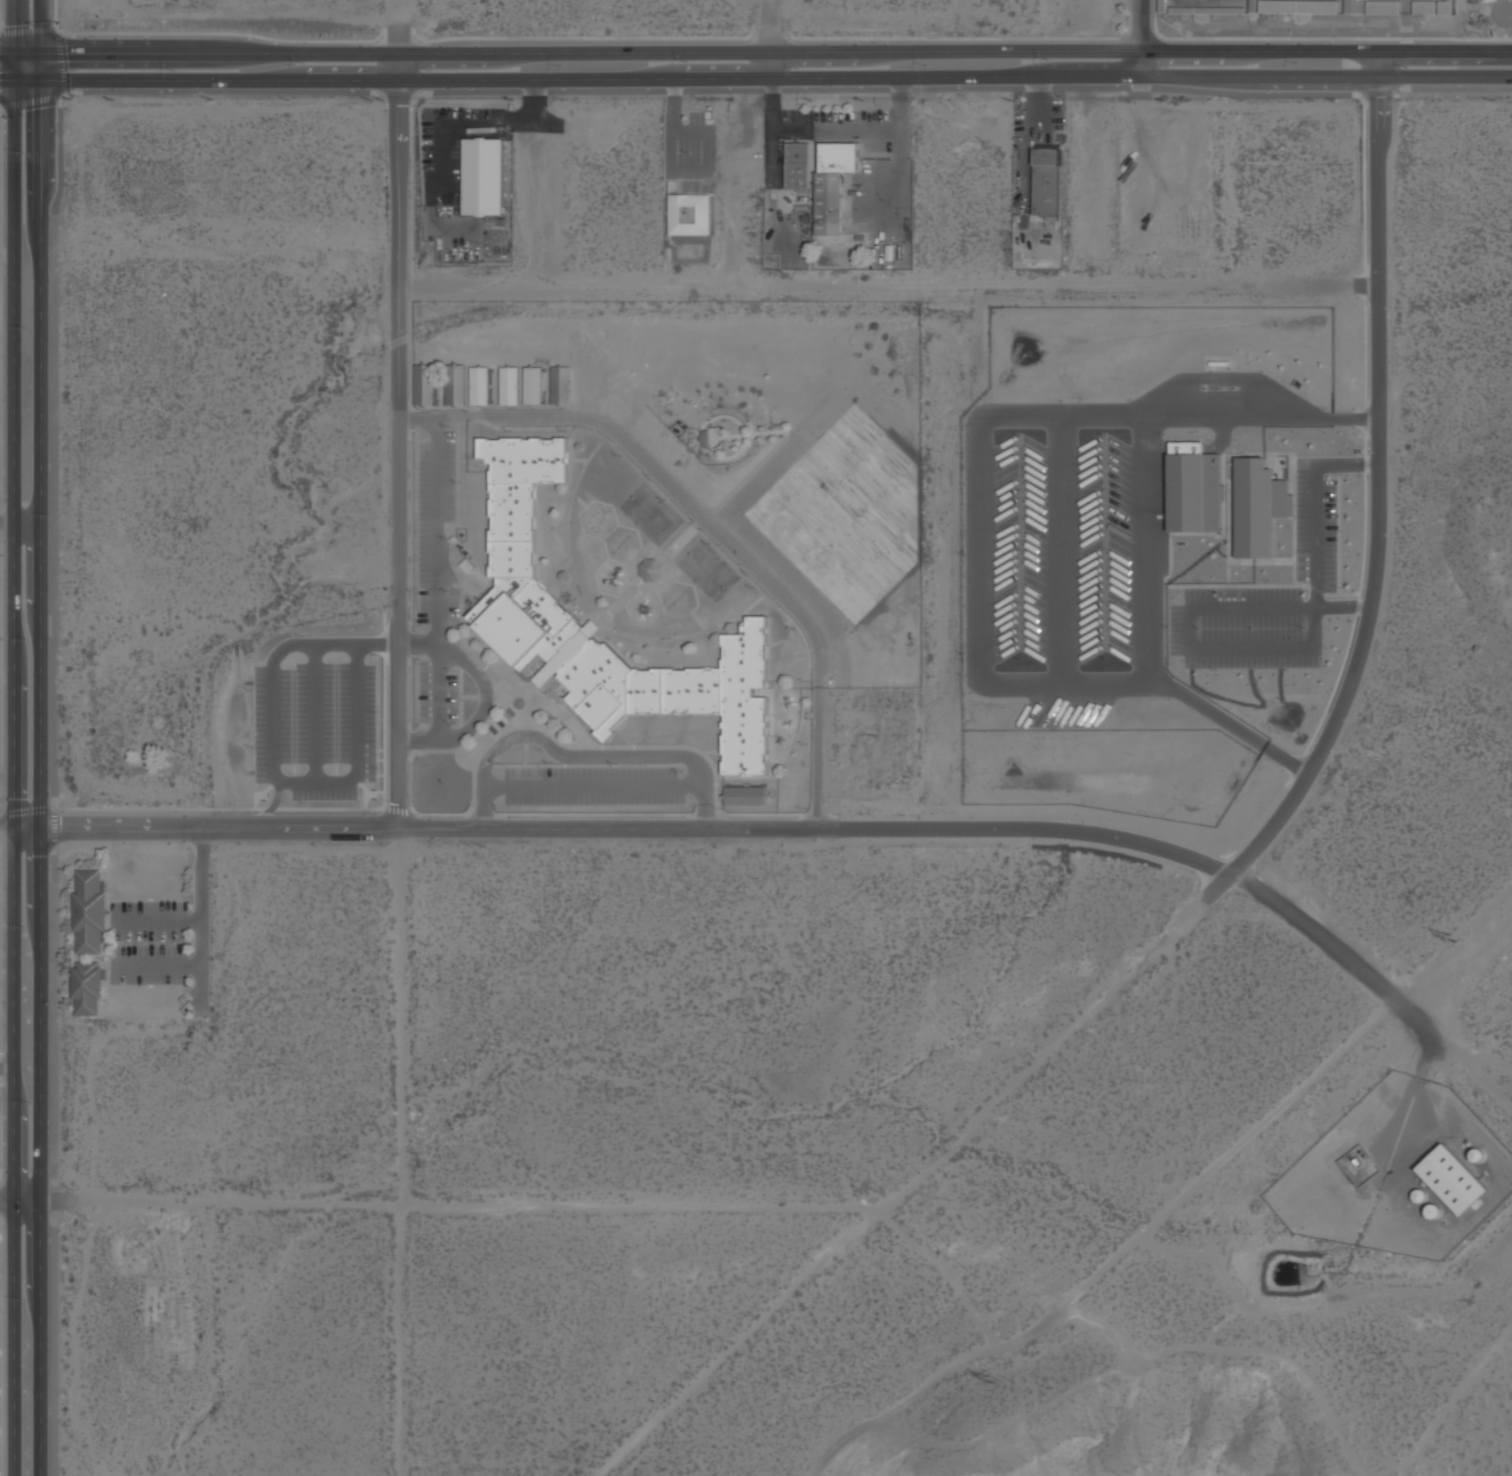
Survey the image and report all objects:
landfill: (1102, 3)
building: (1163, 5)
building: (1253, 5)
building: (1298, 6)
building: (1352, 6)
building: (1383, 6)
building: (1445, 6)
building: (1424, 7)
building: (1208, 9)
road: (1143, 23)
road: (15, 25)
road: (43, 25)
road: (398, 26)
road: (771, 26)
road: (767, 38)
road: (1443, 50)
traffic signals: (15, 52)
traffic signals: (44, 52)
road: (687, 52)
road: (1144, 60)
road: (60, 64)
road: (772, 65)
road: (14, 67)
road: (44, 67)
road: (687, 77)
road: (1443, 77)
traffic signals: (14, 83)
traffic signals: (44, 83)
road: (1037, 100)
road: (477, 122)
road: (57, 129)
road: (834, 133)
building: (799, 164)
road: (676, 172)
road: (893, 174)
building: (484, 176)
building: (1047, 181)
building: (833, 183)
building: (690, 214)
road: (887, 283)
building: (455, 383)
building: (425, 384)
building: (533, 384)
building: (479, 385)
building: (509, 385)
building: (560, 385)
road: (400, 441)
road: (1144, 455)
road: (1376, 478)
building: (1188, 490)
building: (1253, 505)
road: (6, 521)
parking lot: (1300, 524)
road: (977, 528)
parking lot: (435, 530)
road: (435, 532)
road: (719, 532)
road: (1313, 533)
parking lot: (1327, 534)
parking lot: (1017, 548)
parking lot: (1102, 548)
road: (1059, 550)
parking lot: (1239, 595)
building: (522, 598)
parking lot: (1248, 627)
parking lot: (1174, 629)
road: (332, 645)
road: (1187, 646)
parking lot: (1248, 661)
road: (437, 692)
parking lot: (436, 693)
parking lot: (1061, 712)
road: (479, 713)
road: (314, 714)
road: (272, 727)
parking lot: (314, 728)
road: (358, 745)
road: (604, 754)
road: (11, 779)
road: (40, 779)
parking lot: (592, 786)
road: (593, 786)
building: (745, 795)
road: (483, 808)
road: (268, 811)
road: (813, 828)
building: (88, 911)
power tower: (1455, 938)
building: (87, 988)
building: (1457, 1179)
road: (18, 1202)
power tower: (989, 1381)

